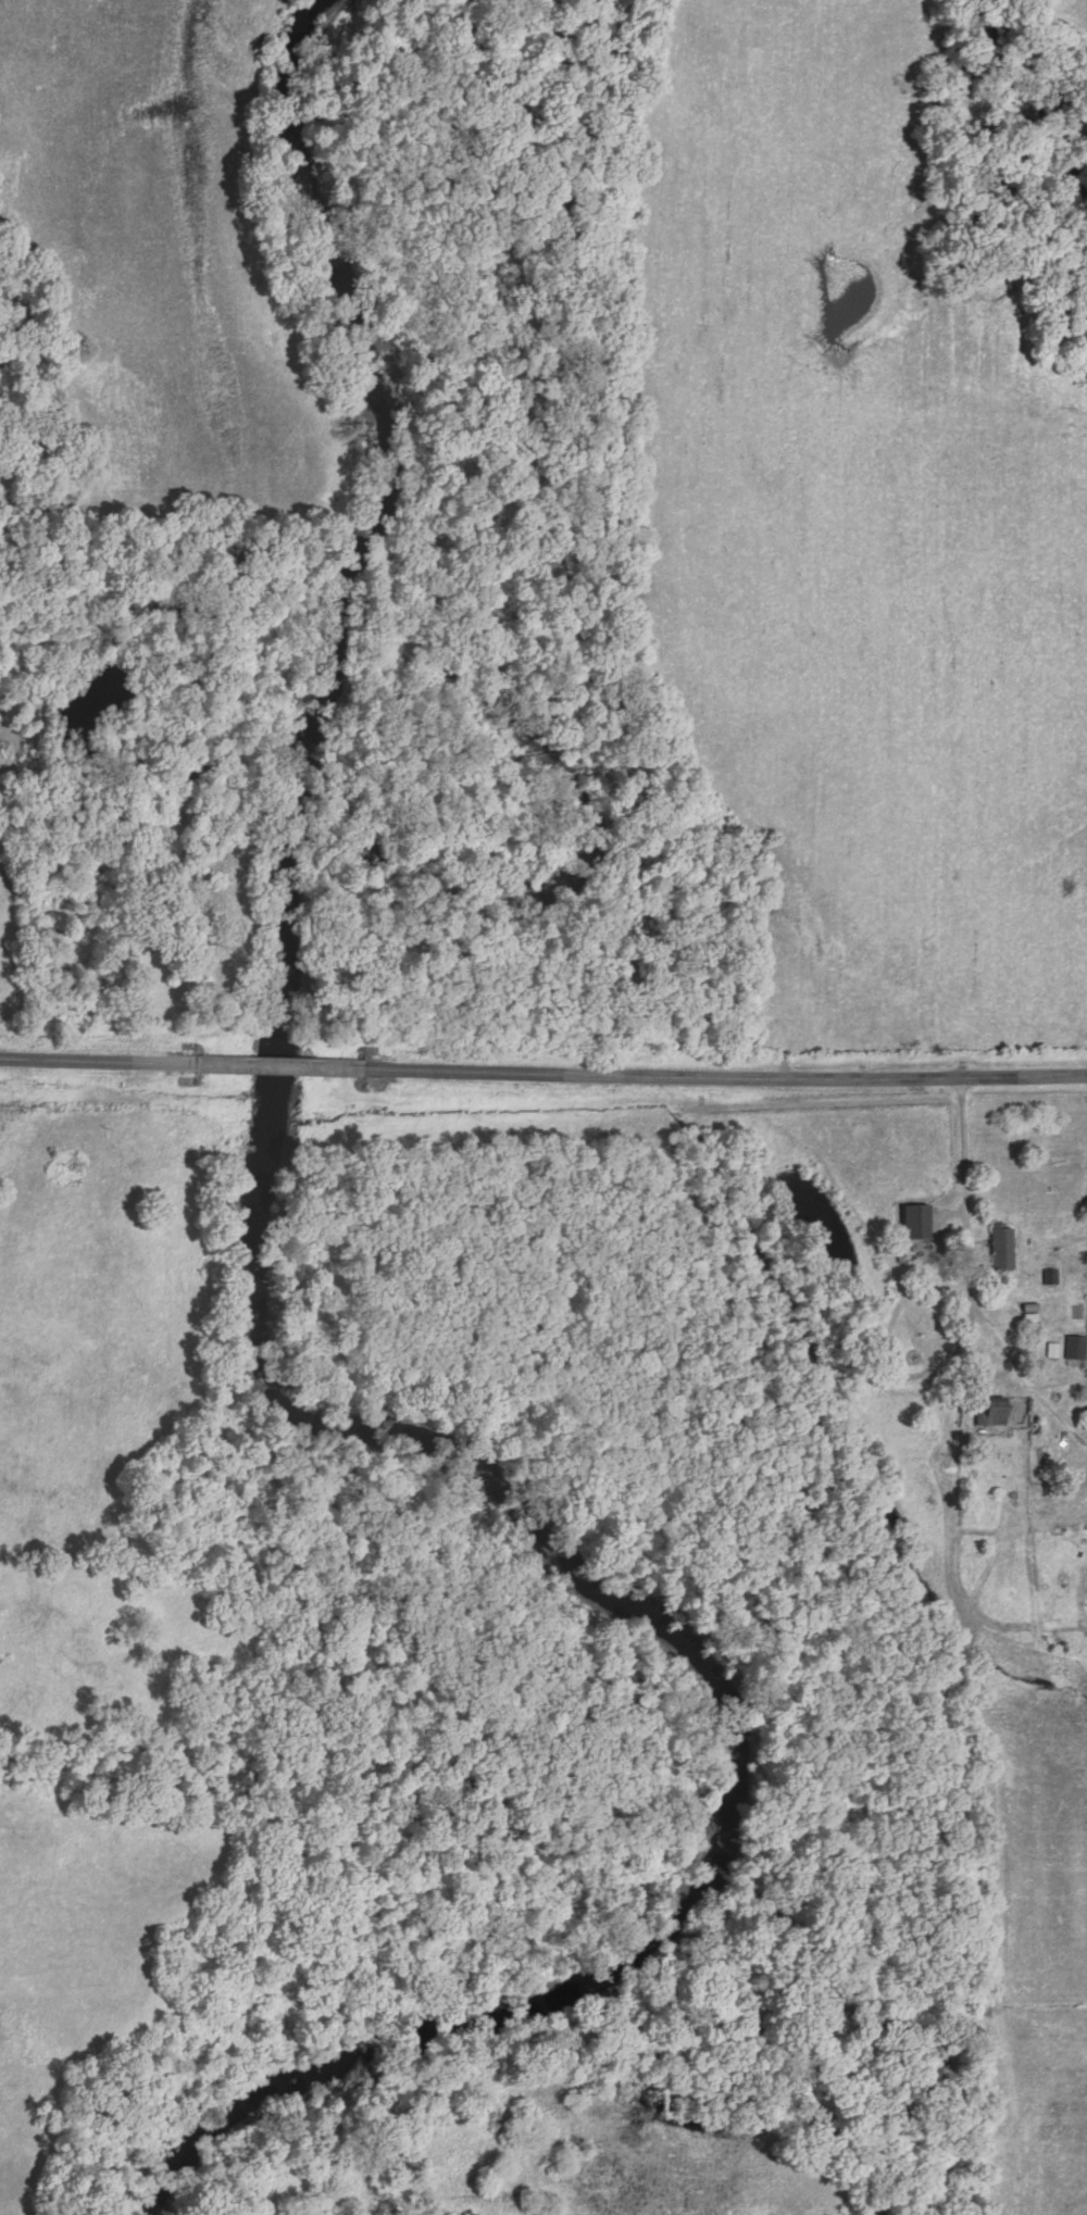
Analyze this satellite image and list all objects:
road: (98, 1062)
road: (279, 1067)
road: (724, 1077)
road: (967, 1192)
building: (920, 1217)
building: (1004, 1242)
building: (1052, 1273)
building: (1077, 1343)
road: (979, 1360)
building: (994, 1410)

